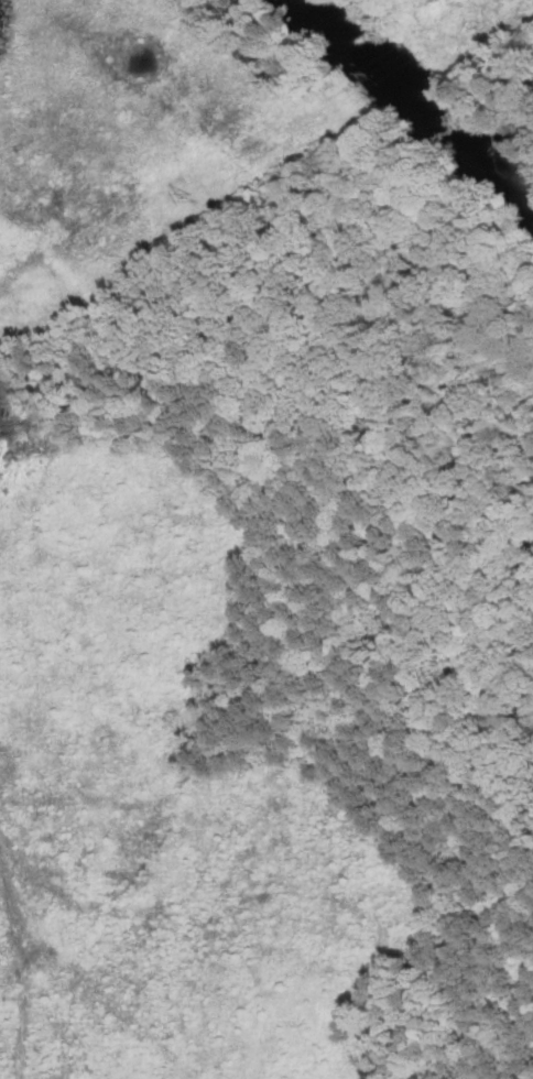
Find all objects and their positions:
river: (412, 94)

